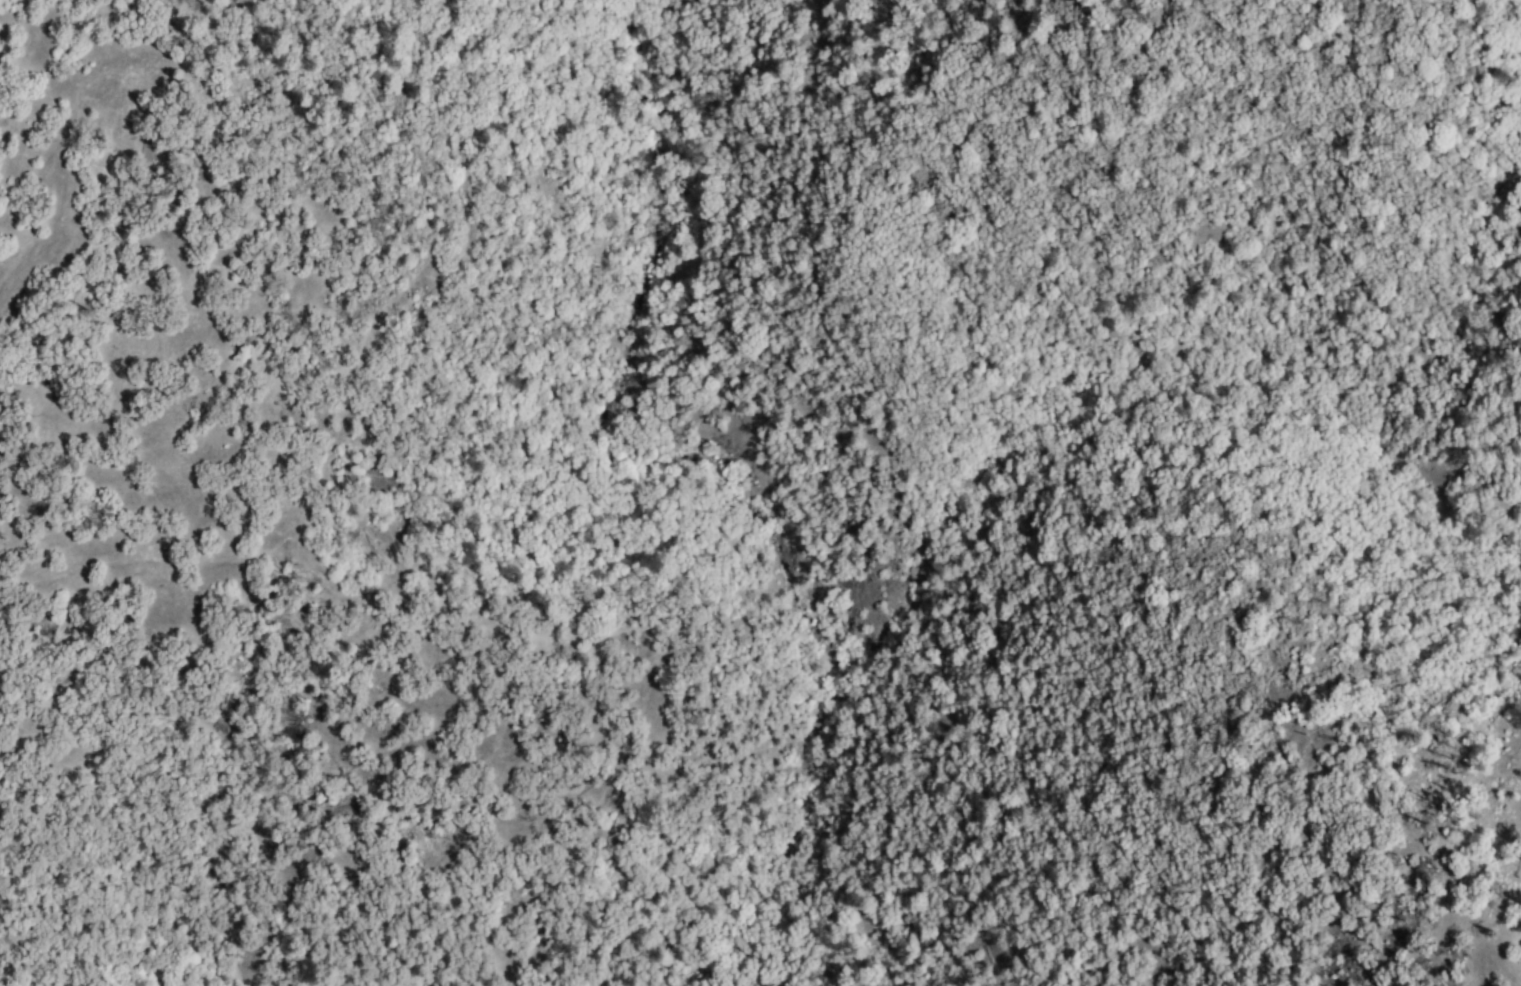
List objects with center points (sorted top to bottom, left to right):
road: (411, 667)

